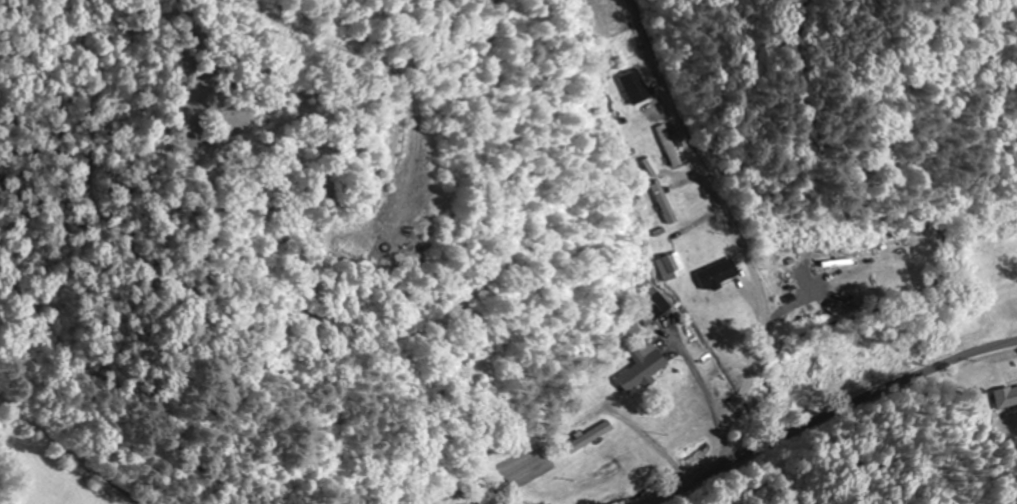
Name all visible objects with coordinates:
building: (634, 87)
building: (668, 145)
building: (663, 201)
building: (668, 266)
building: (716, 273)
building: (652, 302)
building: (639, 368)
building: (1005, 396)
road: (841, 420)
building: (587, 436)

